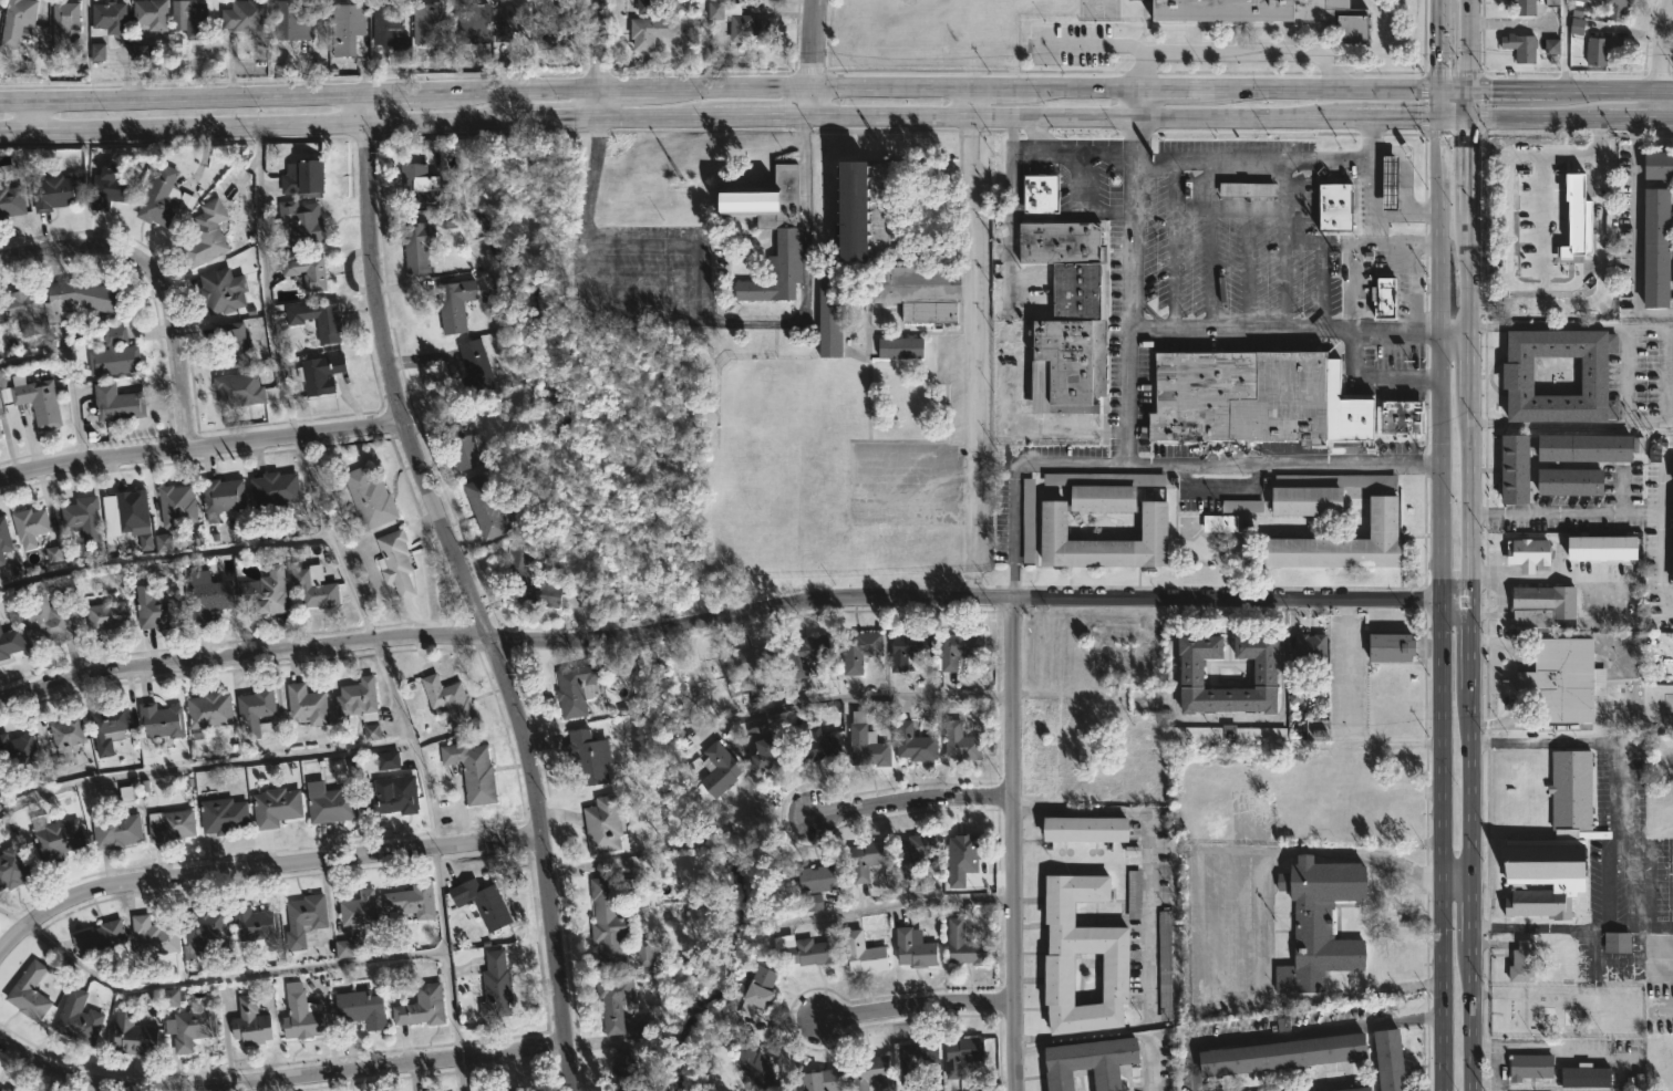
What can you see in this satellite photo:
building: (1580, 0)
building: (1551, 2)
building: (652, 7)
building: (1526, 8)
building: (1618, 10)
building: (1271, 13)
building: (151, 14)
building: (245, 17)
building: (110, 18)
building: (190, 18)
building: (510, 20)
building: (17, 21)
building: (554, 21)
building: (291, 22)
building: (63, 23)
building: (473, 23)
building: (740, 23)
building: (1576, 27)
building: (428, 28)
building: (347, 29)
building: (389, 31)
building: (651, 32)
building: (543, 44)
road: (598, 45)
road: (1094, 46)
road: (1440, 46)
road: (1470, 46)
building: (1551, 46)
building: (1520, 48)
road: (1662, 48)
building: (1602, 50)
building: (97, 52)
building: (138, 52)
road: (1232, 52)
road: (810, 59)
road: (482, 91)
road: (626, 91)
road: (813, 91)
road: (994, 91)
road: (1076, 91)
road: (1166, 92)
road: (1319, 92)
traffic signals: (1440, 93)
road: (1455, 93)
traffic signals: (1470, 93)
road: (1510, 93)
road: (1604, 93)
road: (1665, 93)
road: (183, 96)
road: (597, 104)
road: (972, 104)
road: (1135, 105)
road: (1659, 105)
road: (1439, 106)
road: (1471, 106)
road: (366, 107)
road: (33, 112)
road: (650, 117)
road: (481, 118)
road: (757, 118)
road: (973, 118)
road: (1572, 118)
road: (1243, 120)
road: (1395, 120)
traffic signals: (1439, 120)
road: (1456, 120)
traffic signals: (1473, 120)
road: (183, 124)
road: (1022, 135)
road: (1135, 136)
road: (1073, 150)
road: (1135, 158)
road: (1351, 163)
building: (1657, 164)
road: (1471, 166)
building: (302, 175)
road: (1406, 178)
building: (1388, 183)
gas station: (1388, 183)
building: (422, 184)
building: (111, 186)
building: (1245, 189)
building: (54, 190)
road: (1208, 191)
building: (1041, 193)
building: (162, 197)
building: (11, 199)
road: (1288, 199)
building: (1334, 206)
building: (854, 208)
building: (301, 221)
building: (206, 233)
road: (1633, 236)
building: (787, 240)
building: (1058, 241)
building: (419, 245)
building: (1654, 246)
building: (307, 270)
road: (1470, 271)
road: (1210, 274)
road: (158, 279)
road: (265, 281)
building: (915, 281)
road: (1354, 285)
building: (221, 290)
building: (1076, 290)
building: (80, 297)
building: (1386, 297)
building: (455, 304)
road: (1012, 308)
building: (23, 310)
building: (828, 311)
building: (927, 311)
road: (701, 315)
building: (319, 319)
road: (973, 323)
road: (1569, 328)
road: (1454, 329)
road: (1200, 331)
building: (233, 339)
building: (898, 345)
building: (114, 353)
building: (1066, 364)
road: (1470, 364)
building: (474, 370)
road: (68, 373)
building: (320, 373)
road: (1670, 373)
building: (1516, 375)
road: (1374, 378)
building: (238, 388)
road: (1130, 396)
building: (1239, 396)
building: (37, 399)
building: (109, 403)
building: (1345, 409)
building: (1396, 416)
road: (1571, 422)
building: (0, 435)
road: (200, 446)
building: (464, 447)
building: (1588, 447)
road: (1157, 460)
building: (1514, 468)
building: (1672, 478)
building: (1569, 481)
building: (273, 490)
building: (223, 495)
building: (370, 497)
building: (1099, 497)
road: (1470, 499)
building: (1304, 500)
building: (176, 505)
building: (1238, 506)
building: (125, 507)
building: (486, 508)
road: (1566, 515)
building: (83, 518)
building: (1216, 522)
building: (1027, 523)
building: (30, 526)
road: (1662, 532)
building: (4, 537)
road: (331, 539)
building: (1101, 540)
building: (163, 542)
building: (1342, 543)
road: (975, 544)
building: (1602, 547)
building: (1671, 548)
building: (1526, 553)
building: (53, 554)
building: (395, 562)
building: (529, 576)
road: (1549, 578)
road: (977, 581)
building: (314, 588)
building: (266, 593)
building: (206, 594)
building: (1543, 599)
road: (472, 604)
road: (1439, 604)
building: (157, 612)
road: (731, 613)
building: (107, 617)
building: (1530, 617)
building: (52, 620)
building: (10, 642)
building: (908, 647)
building: (1390, 647)
road: (1470, 647)
building: (959, 648)
road: (1345, 648)
building: (859, 650)
building: (1311, 650)
building: (805, 653)
building: (1128, 657)
building: (753, 664)
building: (1264, 673)
building: (1561, 679)
building: (576, 689)
building: (359, 699)
building: (450, 700)
road: (803, 702)
building: (307, 704)
building: (209, 710)
building: (256, 713)
road: (1229, 719)
building: (161, 723)
building: (109, 727)
building: (370, 732)
building: (66, 736)
building: (816, 740)
building: (961, 742)
road: (407, 744)
building: (867, 744)
building: (915, 744)
building: (17, 750)
building: (771, 754)
building: (588, 757)
building: (388, 760)
road: (1617, 763)
road: (199, 765)
building: (717, 770)
building: (473, 771)
road: (1470, 787)
building: (394, 796)
building: (329, 803)
road: (911, 803)
building: (276, 808)
building: (223, 815)
building: (603, 824)
building: (171, 825)
building: (1087, 829)
building: (116, 830)
building: (55, 838)
building: (1552, 844)
road: (1012, 845)
building: (916, 852)
building: (867, 859)
building: (960, 859)
building: (12, 867)
road: (258, 867)
road: (1455, 879)
building: (819, 883)
building: (1133, 894)
building: (415, 901)
building: (483, 903)
road: (895, 905)
building: (359, 910)
road: (1470, 911)
road: (12, 916)
building: (611, 918)
building: (303, 919)
road: (1148, 922)
building: (1319, 922)
building: (255, 925)
road: (1228, 925)
road: (1571, 927)
building: (207, 931)
building: (100, 936)
building: (154, 937)
building: (1618, 942)
building: (964, 946)
building: (915, 947)
building: (343, 949)
building: (806, 949)
road: (446, 953)
building: (646, 953)
building: (864, 954)
building: (1524, 963)
building: (1164, 965)
road: (225, 975)
building: (1062, 979)
building: (496, 987)
building: (758, 991)
building: (29, 993)
building: (165, 997)
building: (615, 1001)
building: (422, 1007)
road: (915, 1008)
building: (361, 1009)
building: (301, 1015)
road: (1470, 1017)
building: (78, 1018)
building: (250, 1022)
building: (190, 1028)
road: (1292, 1031)
building: (133, 1036)
road: (1108, 1036)
road: (1552, 1048)
building: (1280, 1053)
building: (962, 1054)
building: (916, 1059)
building: (1387, 1059)
building: (1088, 1062)
building: (756, 1067)
building: (1529, 1067)
building: (869, 1071)
building: (624, 1072)
road: (466, 1074)
building: (1588, 1077)
road: (277, 1078)
building: (822, 1080)
building: (1351, 1089)
building: (1, 1090)
building: (8, 1090)

